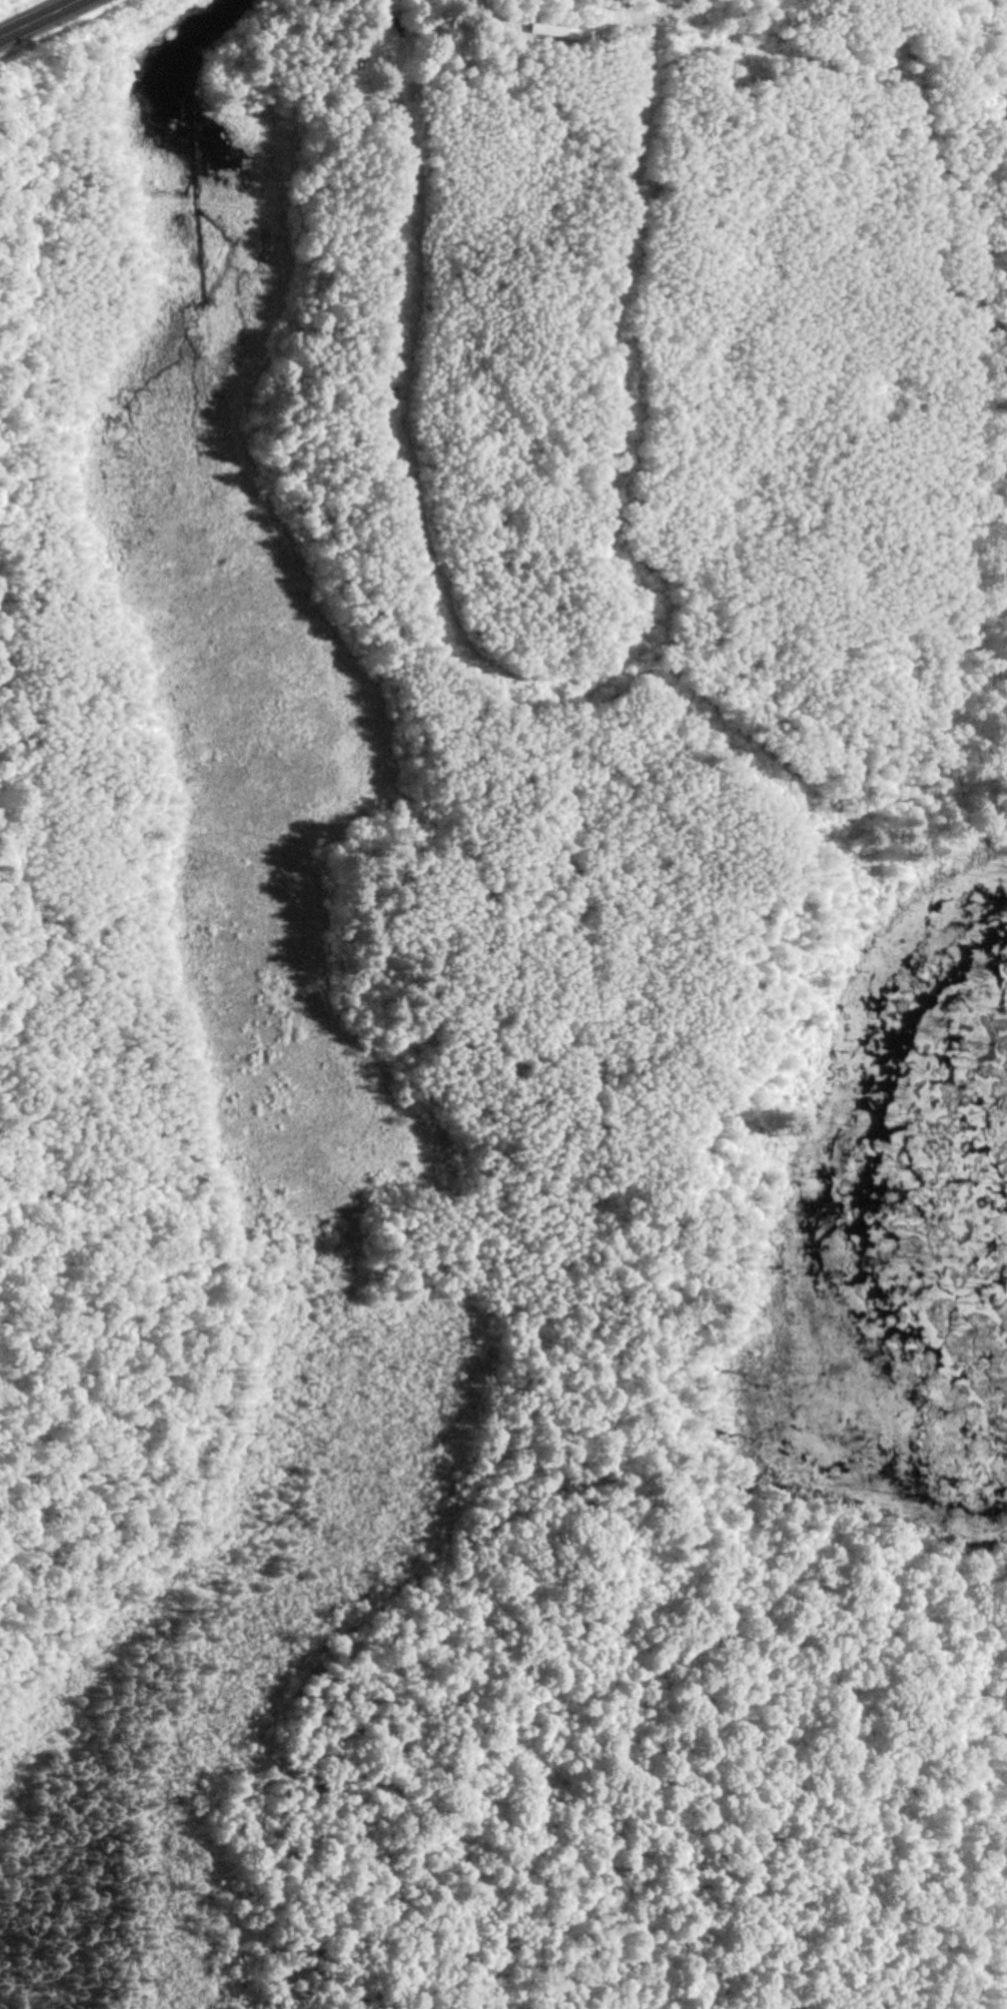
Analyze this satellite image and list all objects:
road: (35, 17)
building: (397, 21)

